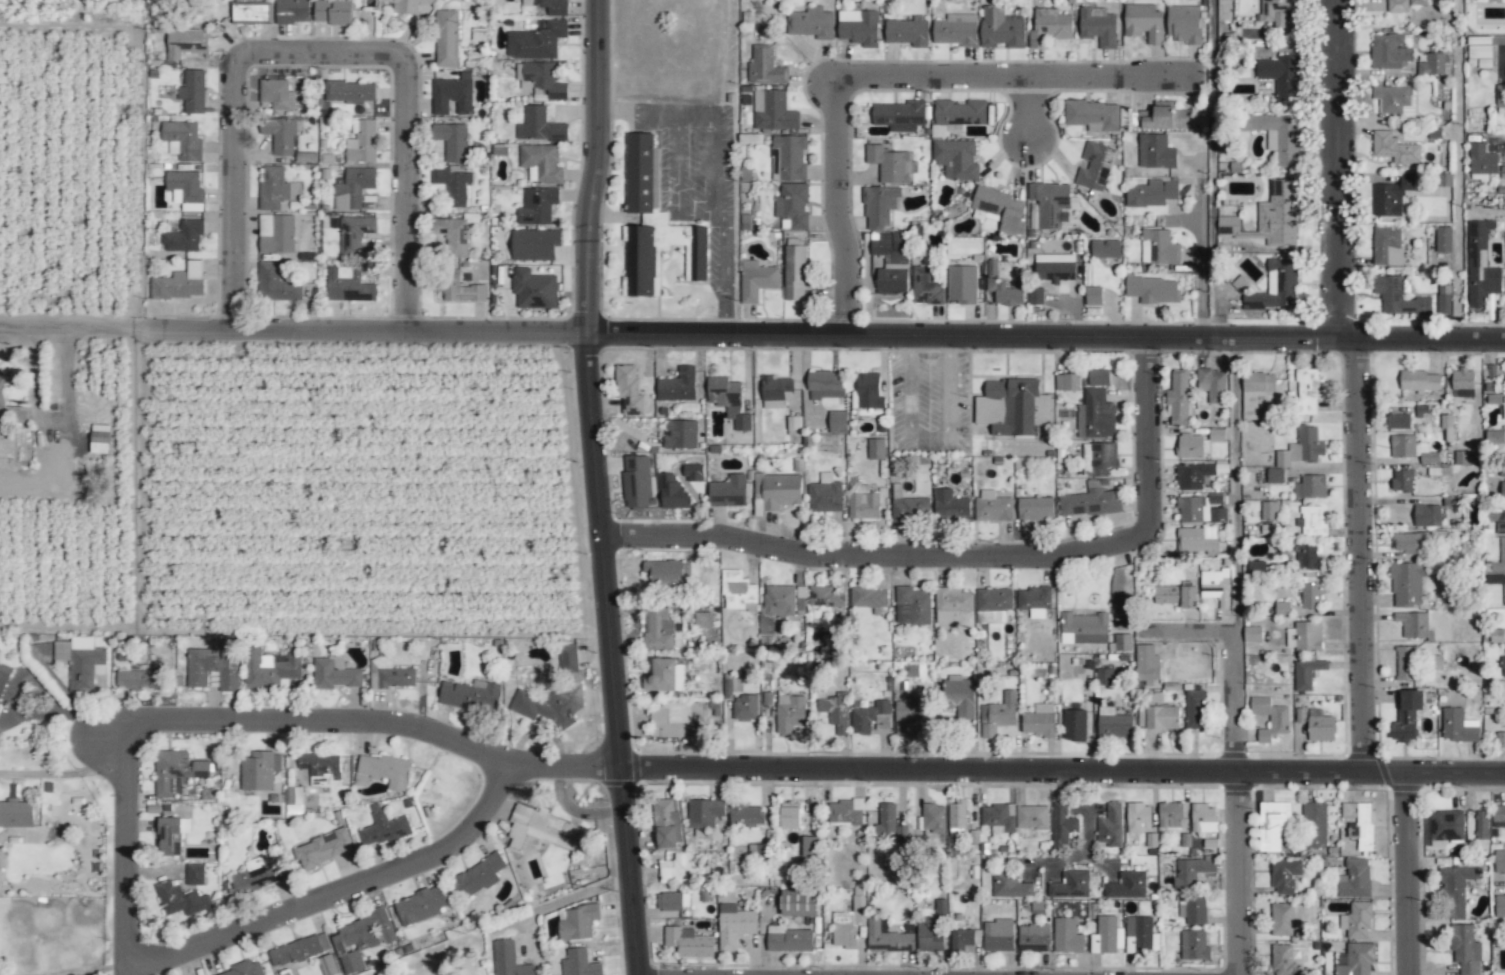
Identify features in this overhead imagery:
building: (407, 5)
building: (1403, 5)
building: (549, 6)
building: (250, 11)
building: (291, 11)
building: (332, 11)
building: (1280, 12)
building: (811, 23)
building: (1144, 23)
building: (1184, 23)
building: (1098, 26)
building: (858, 27)
building: (1001, 29)
building: (1049, 29)
building: (956, 30)
building: (906, 32)
building: (446, 38)
building: (536, 41)
building: (186, 43)
building: (1389, 51)
building: (1479, 51)
road: (322, 55)
road: (719, 56)
building: (1433, 64)
building: (765, 67)
building: (1281, 75)
road: (886, 77)
building: (542, 80)
building: (193, 91)
building: (349, 92)
building: (277, 94)
building: (453, 94)
building: (1500, 95)
building: (1394, 99)
road: (1031, 108)
road: (654, 111)
building: (773, 111)
building: (960, 112)
building: (899, 115)
building: (1093, 115)
building: (1164, 116)
building: (540, 126)
building: (280, 135)
building: (1280, 135)
building: (182, 140)
building: (1271, 140)
building: (452, 141)
building: (362, 142)
road: (1504, 142)
building: (1394, 148)
building: (1155, 152)
building: (791, 157)
building: (956, 159)
building: (1482, 161)
building: (541, 163)
building: (889, 164)
building: (1094, 166)
road: (1213, 169)
road: (1336, 169)
road: (675, 179)
building: (453, 184)
building: (272, 187)
building: (353, 188)
building: (1151, 193)
building: (1391, 196)
building: (1050, 203)
building: (537, 206)
building: (792, 206)
building: (879, 206)
building: (997, 208)
building: (1278, 214)
road: (720, 221)
building: (653, 224)
building: (1228, 226)
building: (276, 233)
building: (355, 233)
building: (454, 236)
building: (183, 237)
building: (1443, 239)
building: (535, 244)
building: (1387, 246)
building: (1158, 247)
building: (1105, 249)
building: (891, 263)
building: (1480, 265)
road: (585, 267)
building: (1054, 267)
road: (1197, 267)
building: (794, 269)
building: (756, 280)
building: (179, 283)
building: (276, 284)
building: (962, 284)
building: (348, 285)
building: (925, 287)
building: (1276, 287)
building: (1002, 288)
building: (461, 290)
building: (534, 290)
building: (1153, 290)
building: (1093, 295)
building: (1035, 296)
building: (1398, 297)
building: (1444, 302)
road: (73, 328)
road: (825, 335)
building: (1098, 377)
building: (1419, 381)
building: (1067, 382)
building: (1463, 383)
building: (1212, 384)
building: (825, 385)
building: (678, 386)
building: (2, 388)
building: (1308, 390)
building: (629, 391)
building: (775, 391)
building: (868, 391)
building: (1255, 391)
building: (1178, 398)
building: (728, 400)
building: (1013, 407)
building: (1502, 408)
building: (1095, 415)
building: (1398, 421)
road: (52, 422)
building: (837, 422)
building: (1447, 426)
crop: (240, 432)
building: (680, 434)
building: (1216, 434)
road: (928, 435)
building: (1493, 436)
building: (100, 438)
building: (1192, 446)
building: (1301, 448)
building: (1411, 448)
building: (876, 449)
building: (1102, 458)
building: (693, 472)
building: (1275, 475)
building: (1192, 476)
building: (1403, 480)
building: (636, 482)
road: (1235, 485)
building: (1310, 487)
building: (1502, 490)
building: (776, 491)
building: (673, 492)
building: (728, 492)
building: (825, 494)
building: (1090, 502)
building: (863, 505)
building: (950, 506)
building: (992, 507)
building: (1035, 508)
building: (910, 510)
building: (1270, 510)
building: (1202, 511)
building: (1427, 515)
building: (1498, 521)
building: (1311, 522)
building: (1197, 539)
building: (1410, 542)
building: (1502, 550)
road: (976, 557)
building: (1307, 557)
road: (1361, 557)
building: (1256, 567)
building: (668, 572)
building: (1406, 584)
building: (1214, 586)
building: (738, 591)
building: (1504, 593)
building: (1311, 595)
building: (825, 596)
building: (1176, 596)
building: (868, 598)
building: (1035, 601)
building: (776, 605)
building: (952, 605)
building: (993, 605)
building: (912, 606)
building: (1282, 608)
building: (703, 620)
building: (1413, 624)
building: (1083, 628)
building: (658, 629)
road: (1186, 632)
building: (1252, 633)
building: (1308, 636)
building: (1122, 642)
building: (80, 661)
building: (1406, 663)
building: (1146, 664)
building: (213, 666)
building: (1503, 666)
building: (270, 669)
building: (334, 673)
building: (1307, 673)
building: (389, 674)
building: (3, 676)
building: (666, 676)
building: (1104, 677)
building: (141, 678)
building: (555, 694)
building: (471, 696)
building: (959, 698)
road: (1235, 703)
building: (744, 708)
building: (1195, 710)
building: (835, 712)
building: (789, 713)
building: (997, 715)
building: (1407, 716)
building: (1162, 717)
building: (871, 718)
building: (1270, 718)
building: (677, 719)
building: (1039, 721)
building: (1113, 723)
building: (1074, 725)
building: (1320, 726)
building: (1458, 726)
building: (1501, 740)
road: (621, 755)
building: (259, 770)
building: (176, 771)
building: (382, 771)
road: (815, 772)
road: (64, 773)
building: (294, 800)
building: (704, 813)
building: (845, 813)
building: (16, 814)
building: (745, 814)
building: (956, 814)
building: (790, 815)
building: (1170, 815)
building: (1499, 816)
building: (998, 817)
building: (1032, 817)
building: (1138, 817)
building: (886, 818)
building: (1203, 818)
building: (933, 819)
building: (665, 823)
building: (1062, 824)
building: (1359, 824)
building: (1110, 825)
building: (1273, 825)
building: (1315, 825)
building: (1482, 825)
building: (383, 827)
building: (544, 829)
building: (901, 833)
building: (172, 835)
building: (810, 846)
building: (323, 848)
road: (128, 852)
building: (1499, 860)
building: (677, 869)
building: (1192, 870)
building: (194, 874)
building: (257, 875)
road: (1248, 875)
road: (1413, 875)
building: (478, 876)
building: (1284, 876)
building: (1355, 879)
building: (1011, 885)
building: (1070, 885)
building: (1127, 885)
building: (1456, 890)
road: (338, 896)
building: (180, 900)
road: (561, 900)
building: (669, 901)
building: (798, 902)
building: (1499, 905)
building: (420, 906)
building: (1195, 910)
building: (1283, 919)
building: (1356, 921)
building: (578, 922)
building: (848, 922)
building: (734, 925)
building: (931, 929)
building: (998, 935)
building: (1107, 935)
building: (1140, 935)
building: (888, 936)
building: (1066, 936)
building: (964, 938)
building: (1033, 938)
building: (361, 939)
building: (789, 939)
building: (688, 942)
building: (1194, 945)
building: (298, 950)
building: (1466, 950)
building: (508, 959)
building: (1355, 959)
building: (1282, 960)
building: (579, 963)
building: (327, 965)
building: (243, 969)
road: (99, 970)

